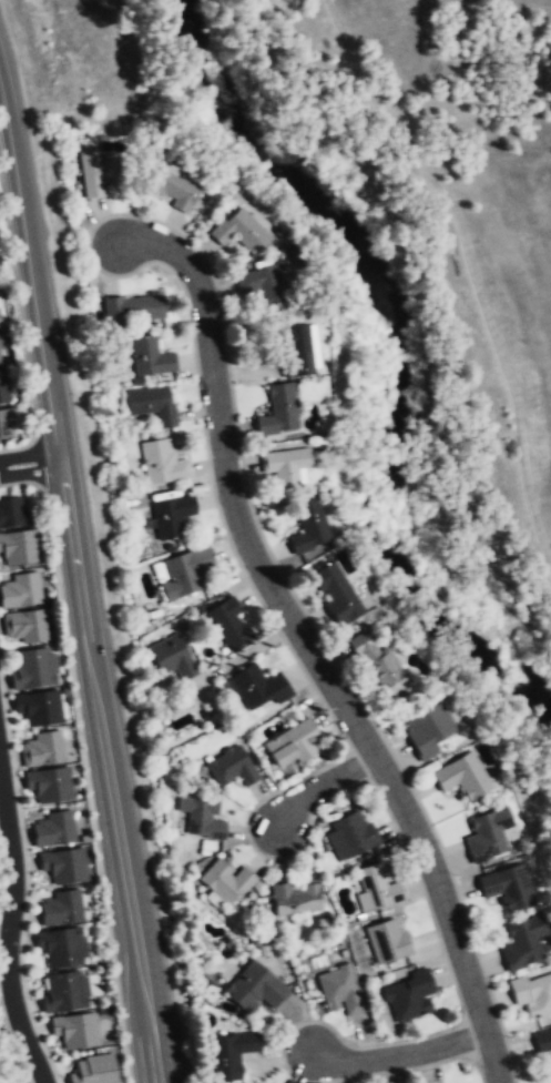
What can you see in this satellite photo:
building: (96, 172)
building: (172, 186)
building: (239, 232)
road: (471, 269)
building: (265, 284)
building: (135, 307)
building: (0, 326)
building: (1, 341)
building: (297, 351)
river: (399, 351)
building: (150, 356)
building: (0, 361)
building: (3, 387)
building: (152, 404)
building: (278, 411)
building: (6, 422)
road: (30, 463)
building: (162, 463)
building: (286, 465)
building: (12, 512)
building: (172, 515)
building: (309, 525)
building: (19, 547)
building: (185, 571)
road: (80, 585)
building: (20, 589)
building: (337, 593)
building: (228, 623)
building: (24, 625)
road: (307, 646)
building: (172, 656)
building: (378, 665)
building: (33, 668)
building: (258, 686)
building: (39, 707)
building: (429, 729)
building: (293, 742)
building: (42, 748)
building: (232, 767)
building: (462, 776)
building: (50, 783)
road: (323, 785)
building: (202, 818)
building: (53, 829)
building: (486, 832)
building: (354, 833)
building: (64, 864)
building: (225, 880)
building: (378, 885)
building: (507, 885)
building: (295, 899)
building: (61, 907)
road: (10, 931)
building: (387, 941)
building: (522, 941)
building: (61, 945)
building: (254, 988)
building: (340, 990)
building: (64, 991)
building: (531, 993)
building: (410, 996)
building: (75, 1029)
building: (541, 1040)
building: (229, 1053)
road: (401, 1054)
building: (94, 1070)

